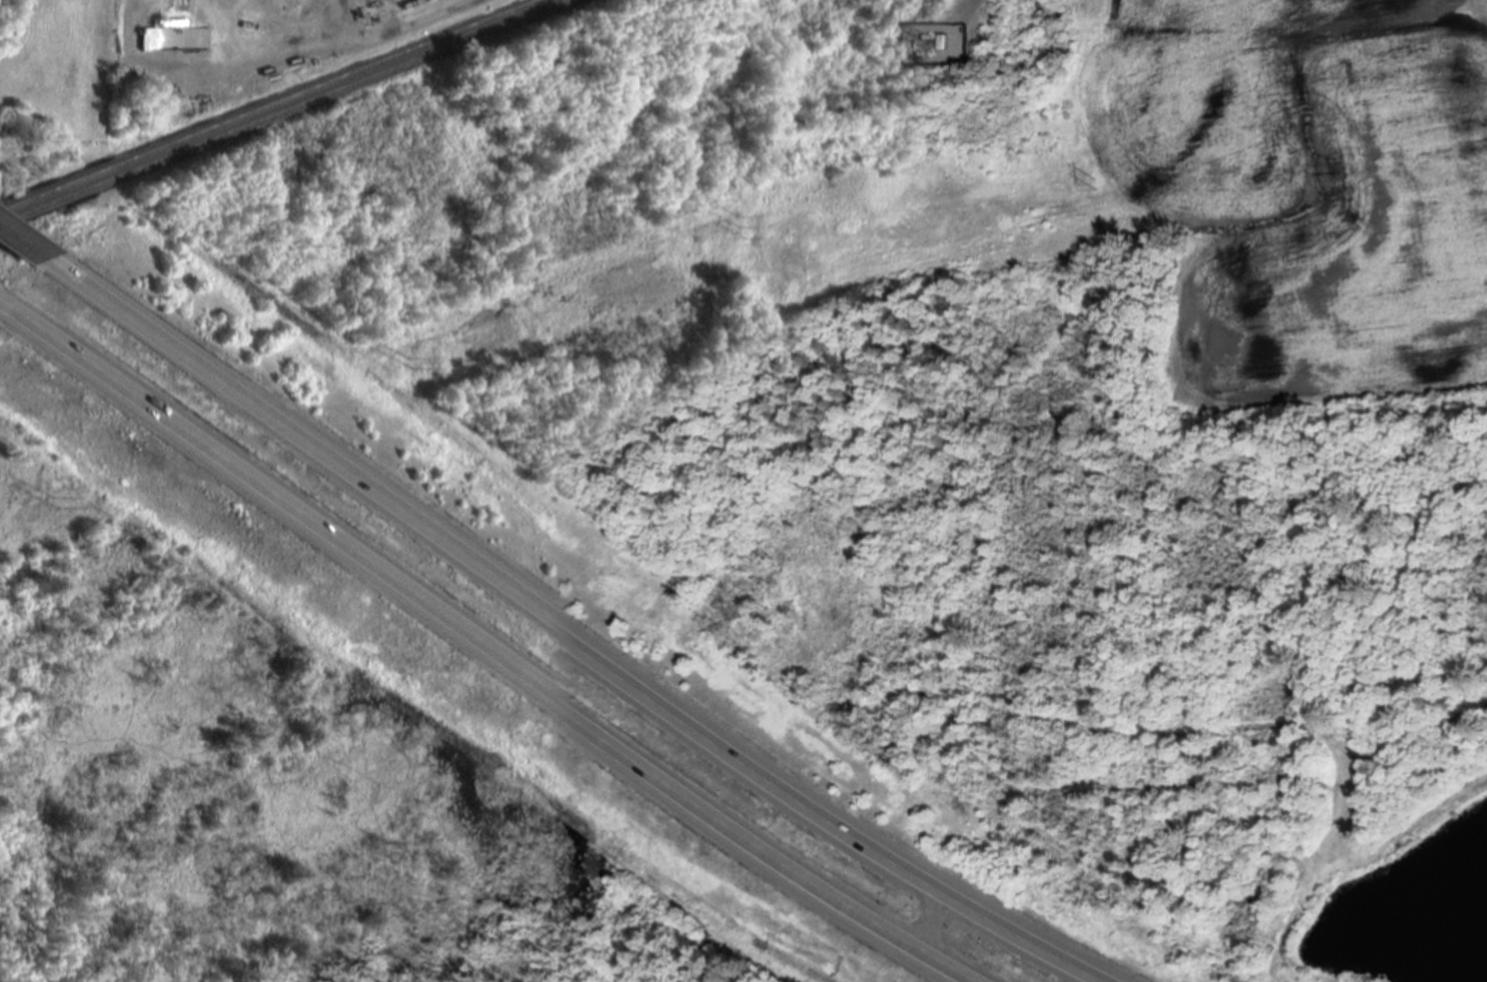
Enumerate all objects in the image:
building: (176, 38)
building: (931, 43)
road: (93, 67)
railway: (270, 106)
railway: (283, 111)
power tower: (1095, 182)
crop: (1188, 187)
power tower: (741, 226)
road: (30, 254)
park: (552, 269)
power tower: (404, 357)
power tower: (50, 498)
road: (579, 639)
road: (486, 653)
park: (261, 728)
road: (942, 923)

